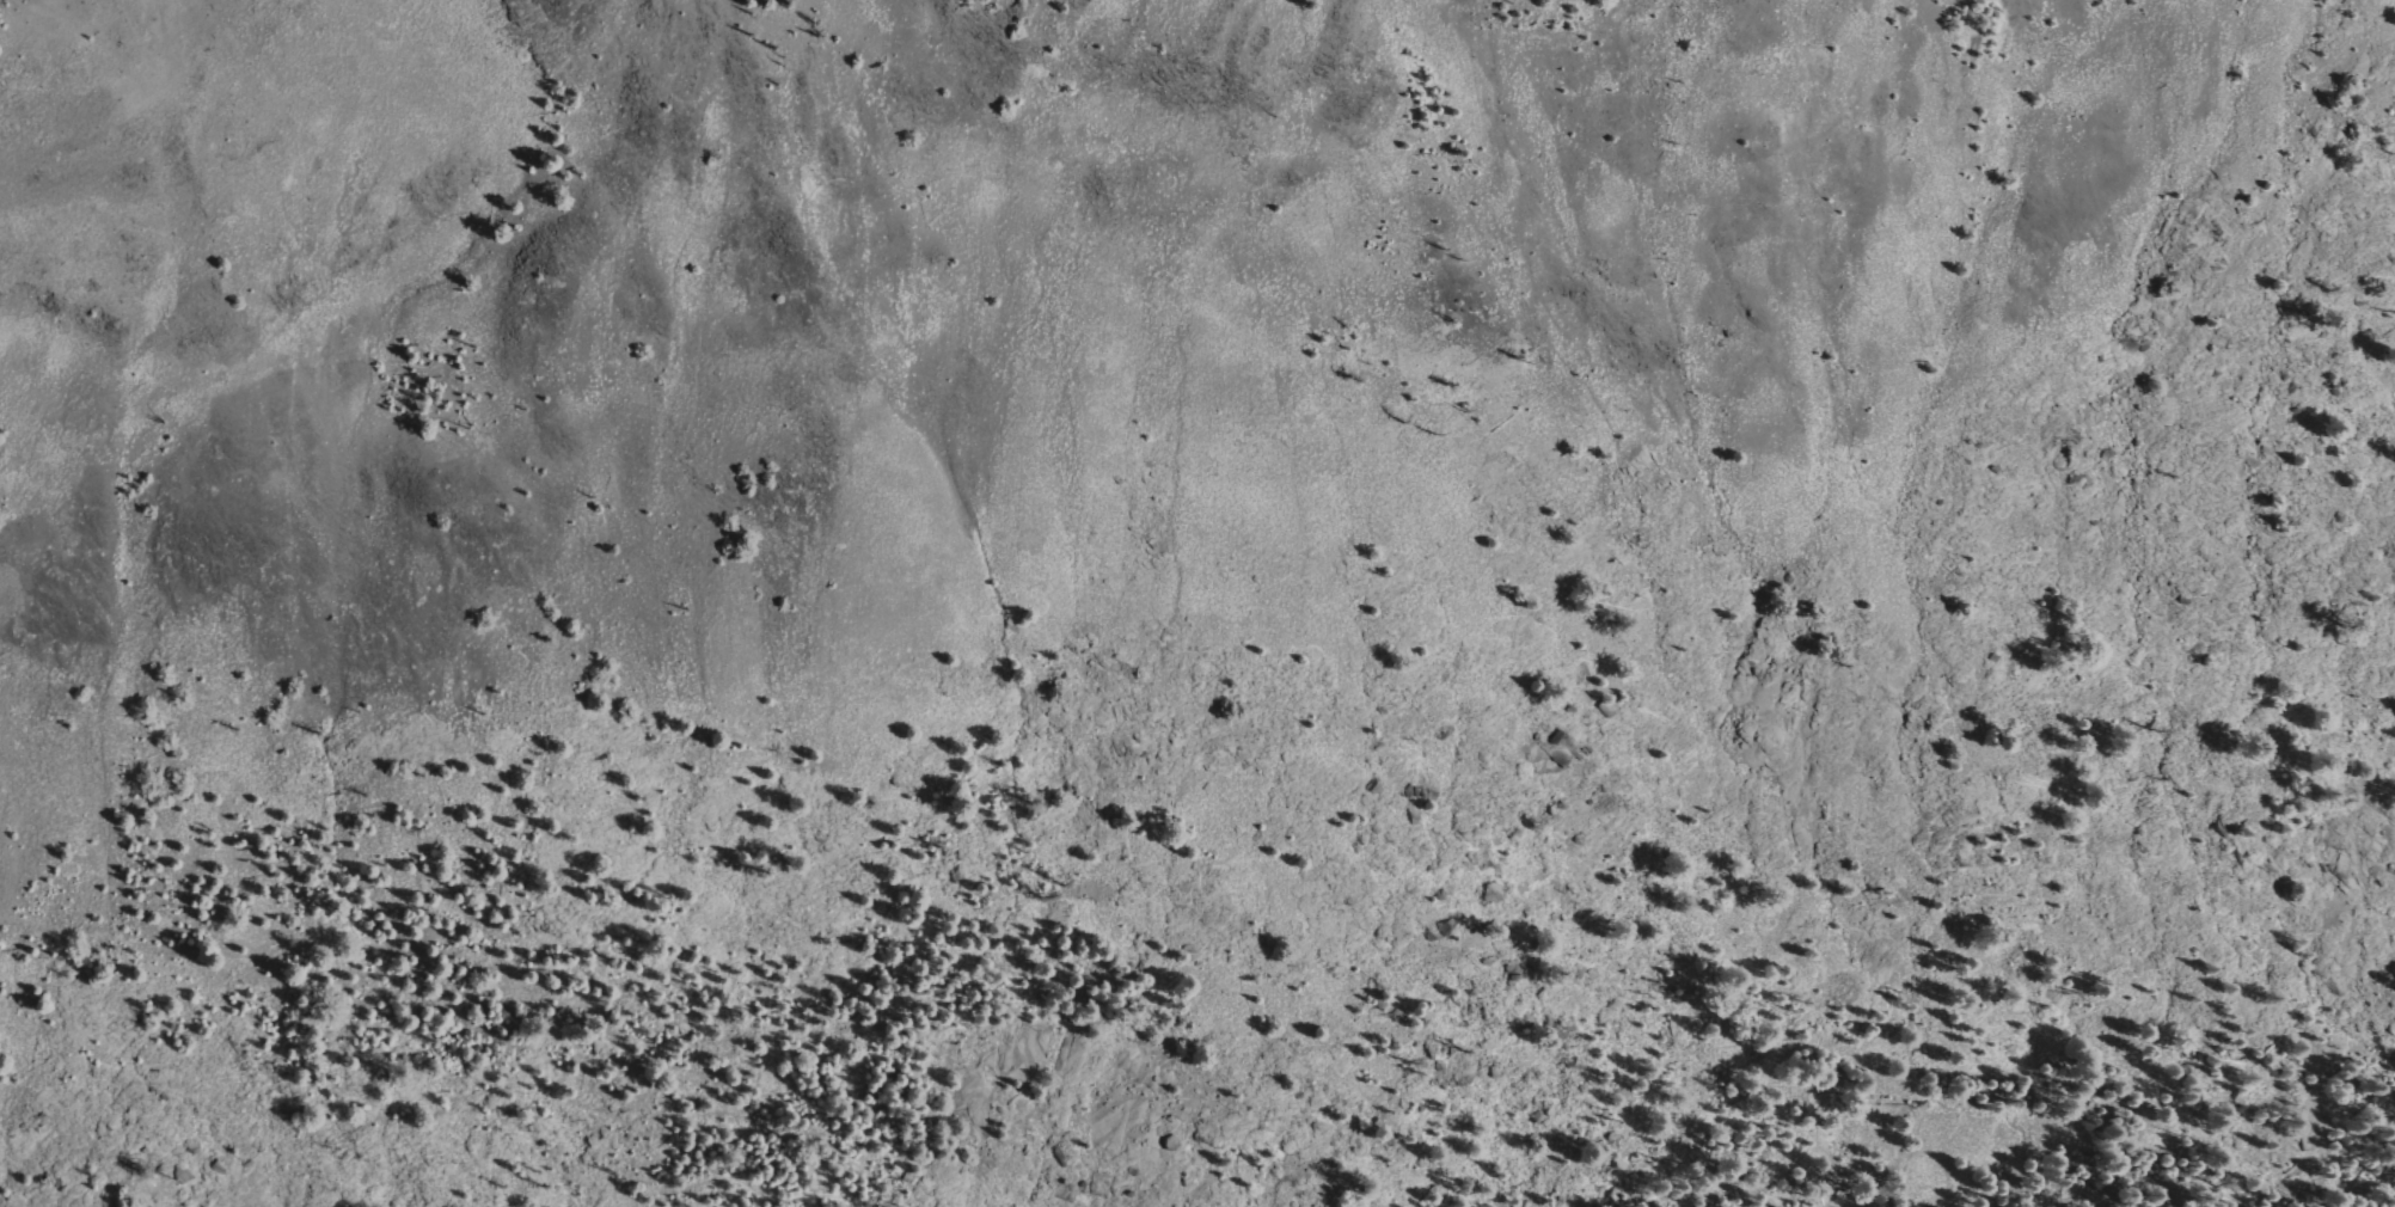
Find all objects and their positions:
road: (353, 1059)

